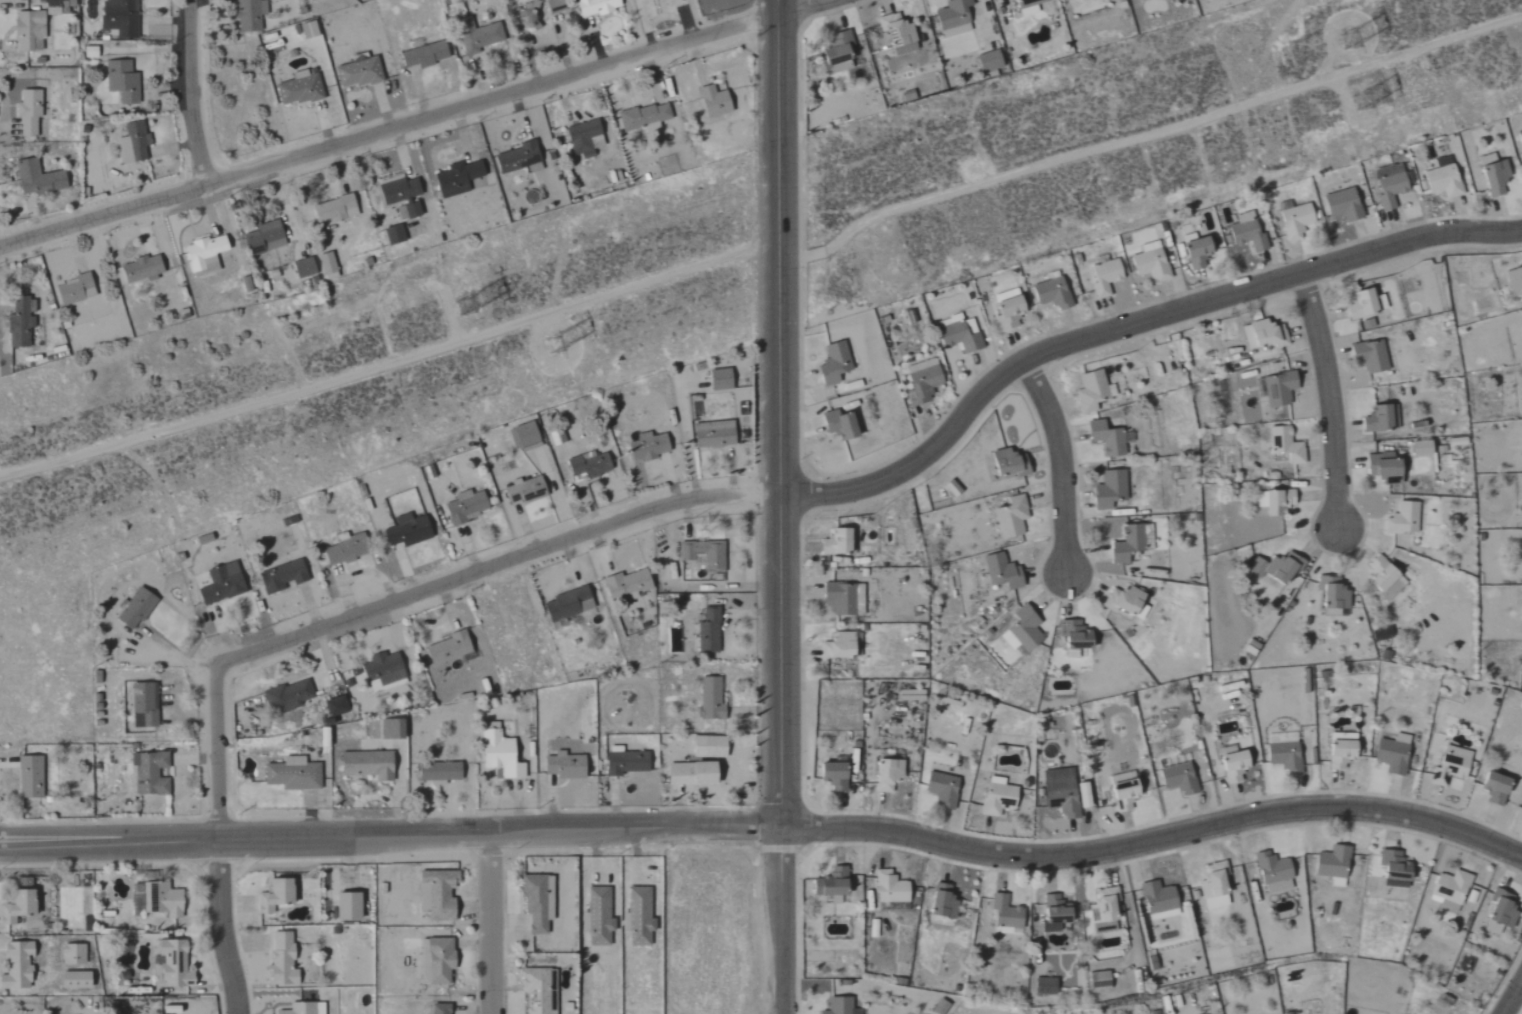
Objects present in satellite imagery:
building: (1083, 1)
building: (556, 6)
building: (57, 7)
building: (597, 7)
building: (1030, 7)
building: (250, 15)
building: (530, 15)
building: (120, 17)
building: (954, 18)
building: (30, 30)
building: (309, 30)
building: (899, 33)
building: (480, 37)
power tower: (1357, 43)
building: (839, 49)
building: (91, 52)
building: (424, 53)
building: (991, 61)
building: (360, 71)
building: (123, 81)
building: (300, 89)
road: (194, 92)
power tower: (1374, 92)
building: (909, 96)
building: (716, 101)
building: (29, 112)
building: (645, 117)
road: (409, 123)
building: (586, 137)
building: (135, 141)
building: (520, 159)
building: (1490, 174)
building: (458, 177)
building: (1438, 177)
building: (38, 178)
building: (1391, 185)
building: (399, 190)
building: (1345, 205)
building: (336, 210)
building: (413, 210)
building: (1297, 221)
building: (1248, 232)
building: (395, 235)
building: (265, 239)
building: (1202, 250)
building: (206, 255)
building: (1152, 264)
building: (328, 266)
building: (305, 268)
building: (143, 269)
building: (1106, 277)
building: (1514, 284)
building: (76, 290)
building: (1053, 293)
power tower: (469, 301)
building: (1359, 303)
building: (1010, 310)
building: (1364, 323)
building: (21, 324)
road: (1127, 324)
building: (1261, 333)
building: (961, 334)
power tower: (559, 341)
building: (1367, 355)
road: (388, 361)
building: (836, 364)
building: (722, 380)
building: (924, 381)
building: (1276, 388)
building: (1092, 392)
road: (1332, 394)
road: (778, 411)
building: (1378, 417)
building: (842, 425)
building: (715, 434)
building: (524, 436)
building: (1109, 438)
building: (1282, 444)
building: (649, 447)
building: (1416, 448)
building: (1009, 462)
road: (1064, 462)
building: (589, 465)
building: (1379, 466)
building: (953, 488)
building: (1111, 489)
building: (526, 490)
building: (1273, 501)
building: (467, 507)
building: (1012, 517)
building: (1400, 518)
building: (409, 530)
building: (1127, 542)
building: (838, 543)
building: (347, 549)
building: (704, 554)
road: (495, 566)
building: (1280, 569)
building: (1001, 571)
building: (283, 576)
building: (1380, 578)
building: (223, 584)
building: (628, 585)
building: (1329, 595)
building: (846, 599)
building: (1117, 599)
building: (570, 605)
building: (137, 608)
building: (1019, 629)
building: (710, 631)
building: (1071, 634)
building: (841, 647)
building: (450, 649)
building: (385, 672)
building: (288, 697)
building: (711, 699)
building: (144, 705)
building: (337, 706)
building: (393, 730)
building: (710, 747)
building: (501, 753)
building: (1336, 753)
building: (1390, 753)
building: (1287, 756)
building: (626, 762)
building: (1228, 763)
building: (1448, 764)
building: (369, 765)
building: (566, 766)
building: (151, 773)
building: (292, 773)
building: (440, 773)
building: (693, 774)
building: (882, 774)
building: (834, 776)
building: (1118, 777)
building: (1176, 777)
building: (31, 778)
building: (1491, 787)
building: (940, 788)
building: (1119, 794)
building: (994, 796)
building: (1062, 796)
building: (1521, 818)
road: (768, 821)
road: (220, 844)
building: (1331, 864)
building: (1391, 869)
building: (1270, 872)
building: (1210, 885)
building: (831, 886)
building: (887, 887)
building: (1447, 889)
building: (441, 893)
building: (276, 895)
building: (163, 900)
building: (1155, 900)
building: (539, 901)
building: (940, 901)
building: (926, 902)
building: (1100, 904)
building: (349, 905)
building: (19, 906)
building: (1050, 912)
building: (1496, 912)
building: (600, 916)
building: (639, 917)
road: (782, 918)
road: (497, 922)
building: (1102, 927)
building: (74, 954)
building: (283, 959)
building: (442, 960)
building: (174, 964)
building: (18, 966)
building: (425, 972)
building: (76, 979)
building: (1095, 980)
building: (1041, 985)
building: (539, 992)
road: (1514, 998)
building: (836, 1006)
building: (305, 1008)
building: (172, 1009)
building: (441, 1009)

